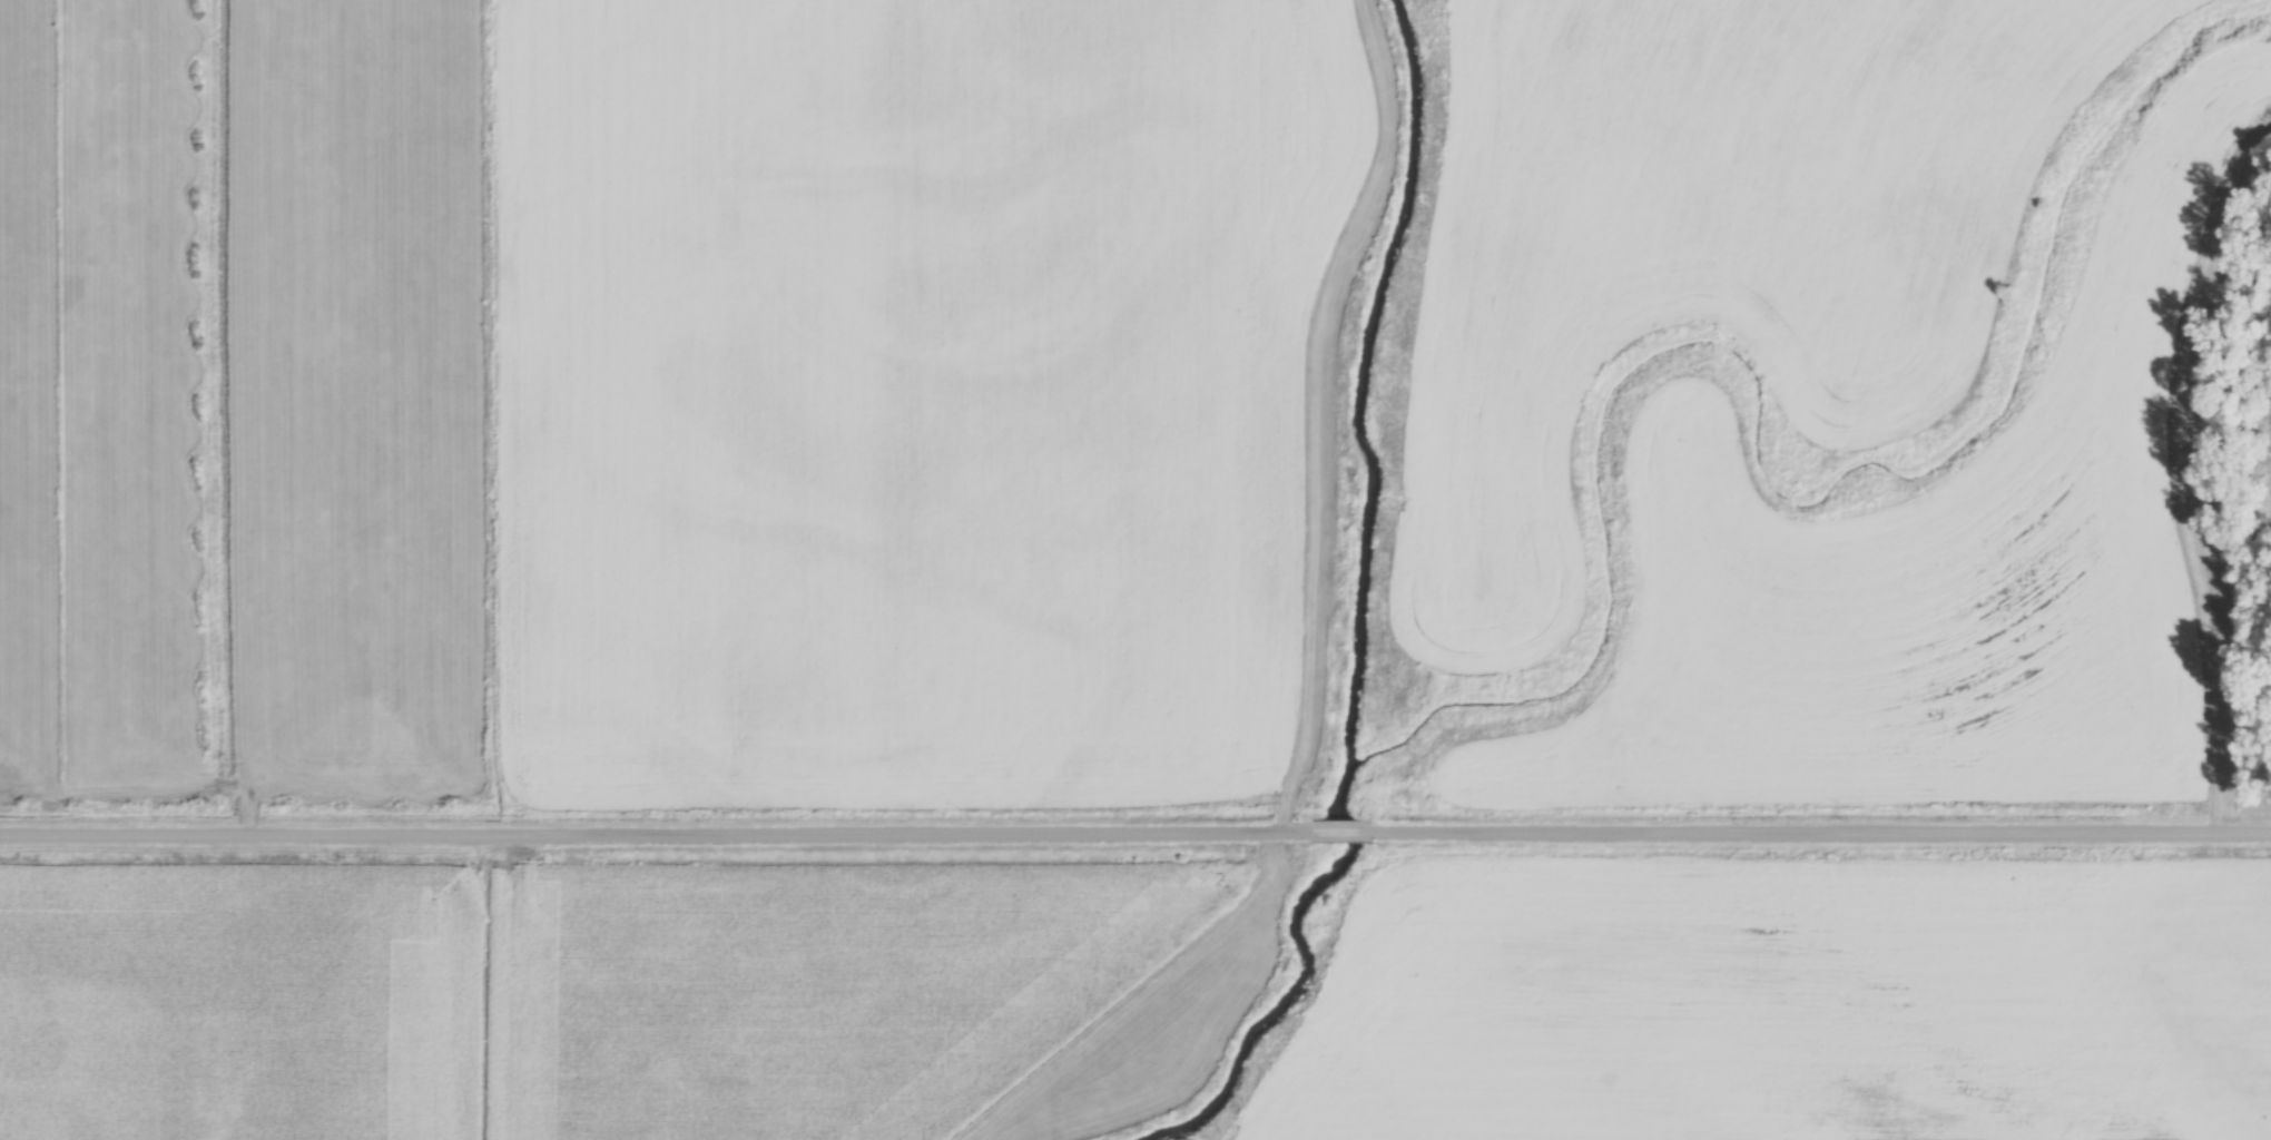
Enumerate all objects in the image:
road: (1825, 833)
road: (652, 834)
road: (1341, 834)

